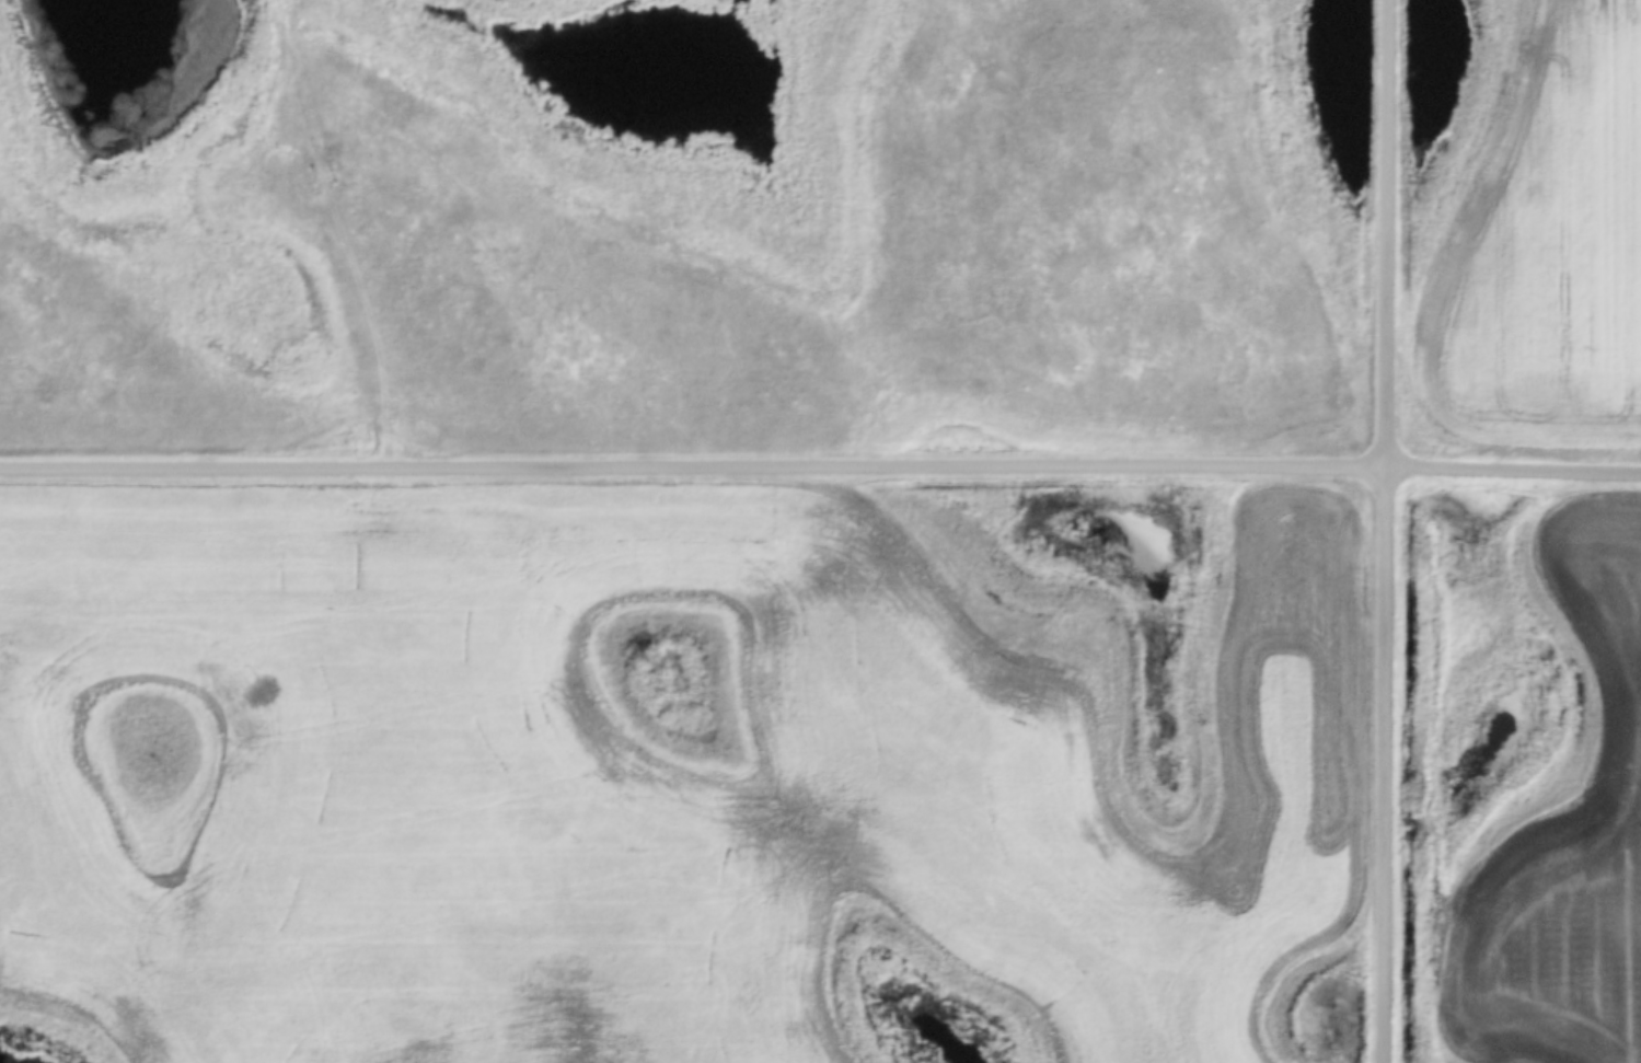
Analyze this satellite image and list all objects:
road: (348, 232)
road: (820, 466)
road: (1395, 531)

